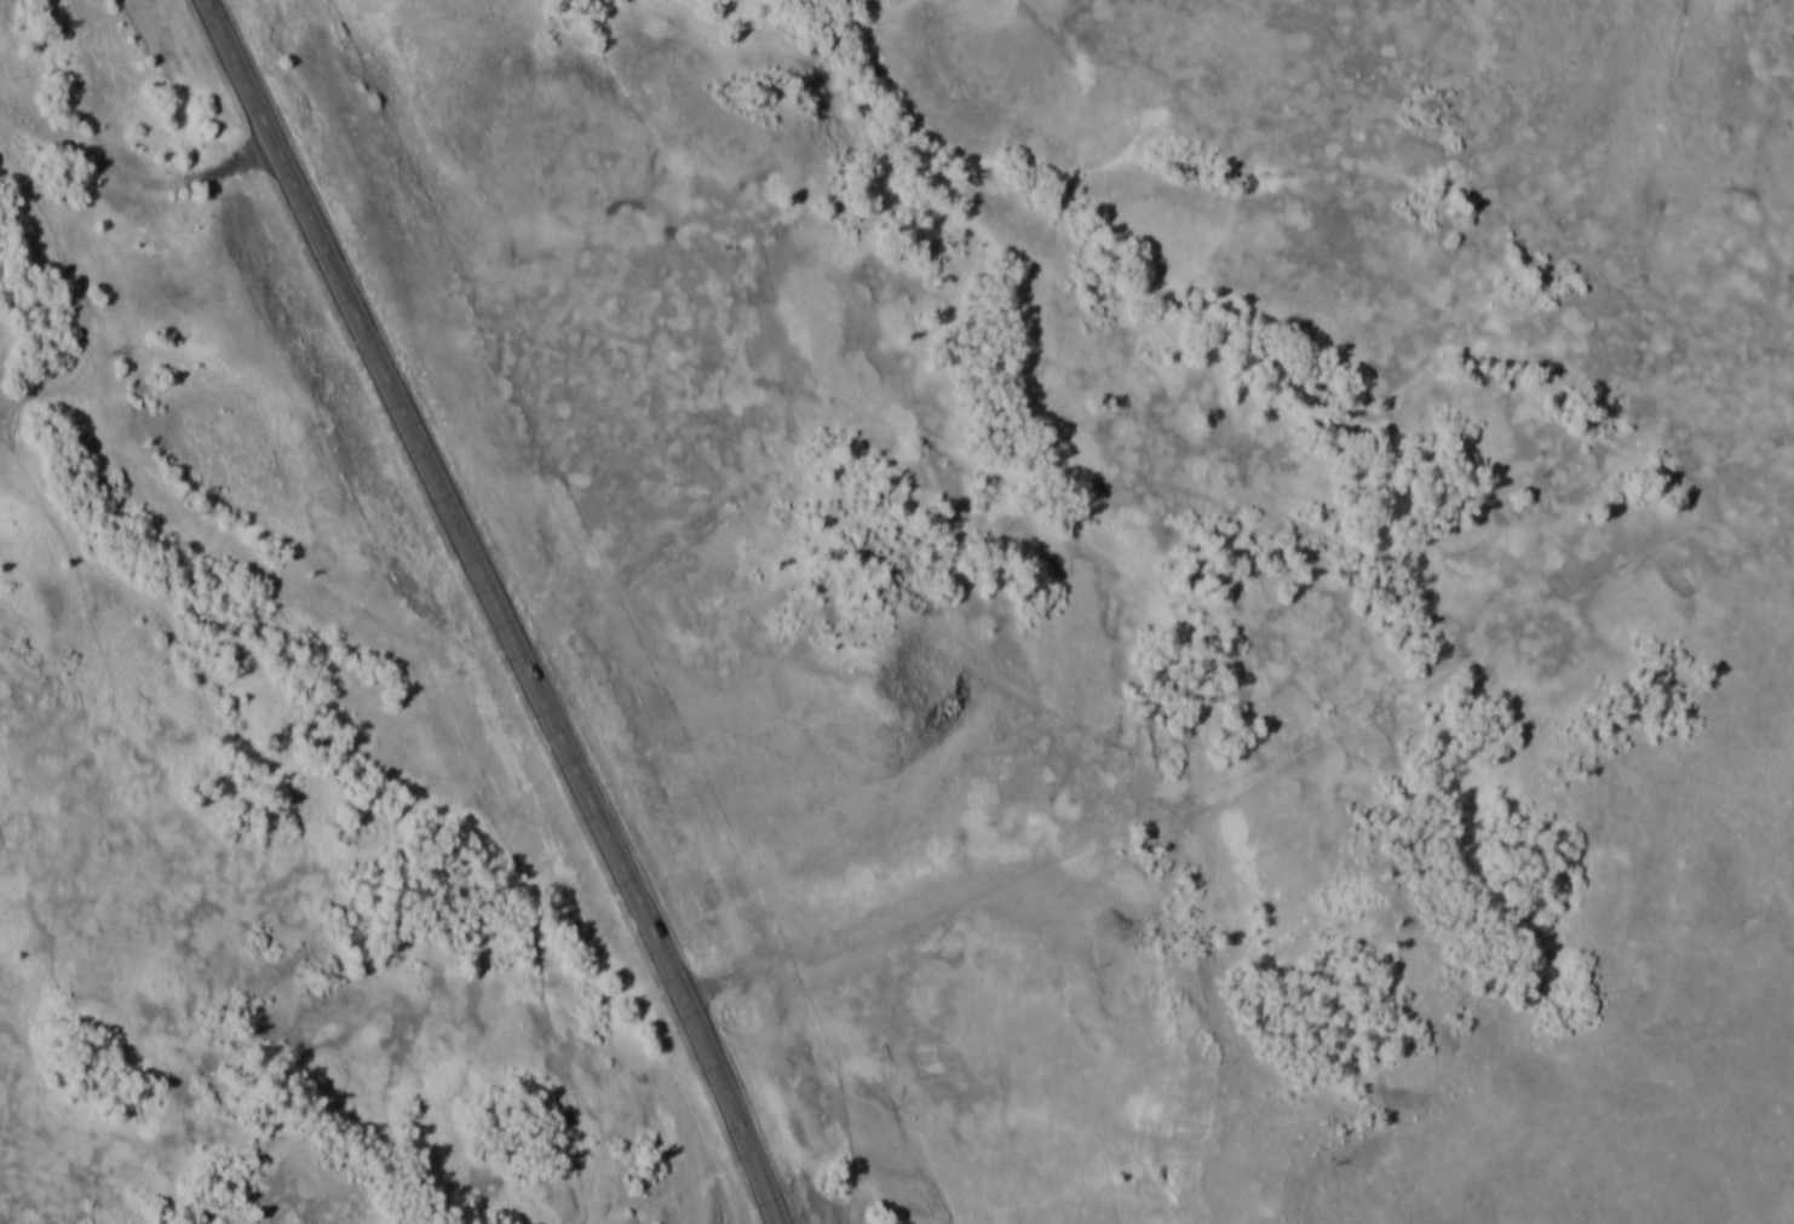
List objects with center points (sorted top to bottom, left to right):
road: (131, 167)
road: (500, 610)
road: (919, 892)

